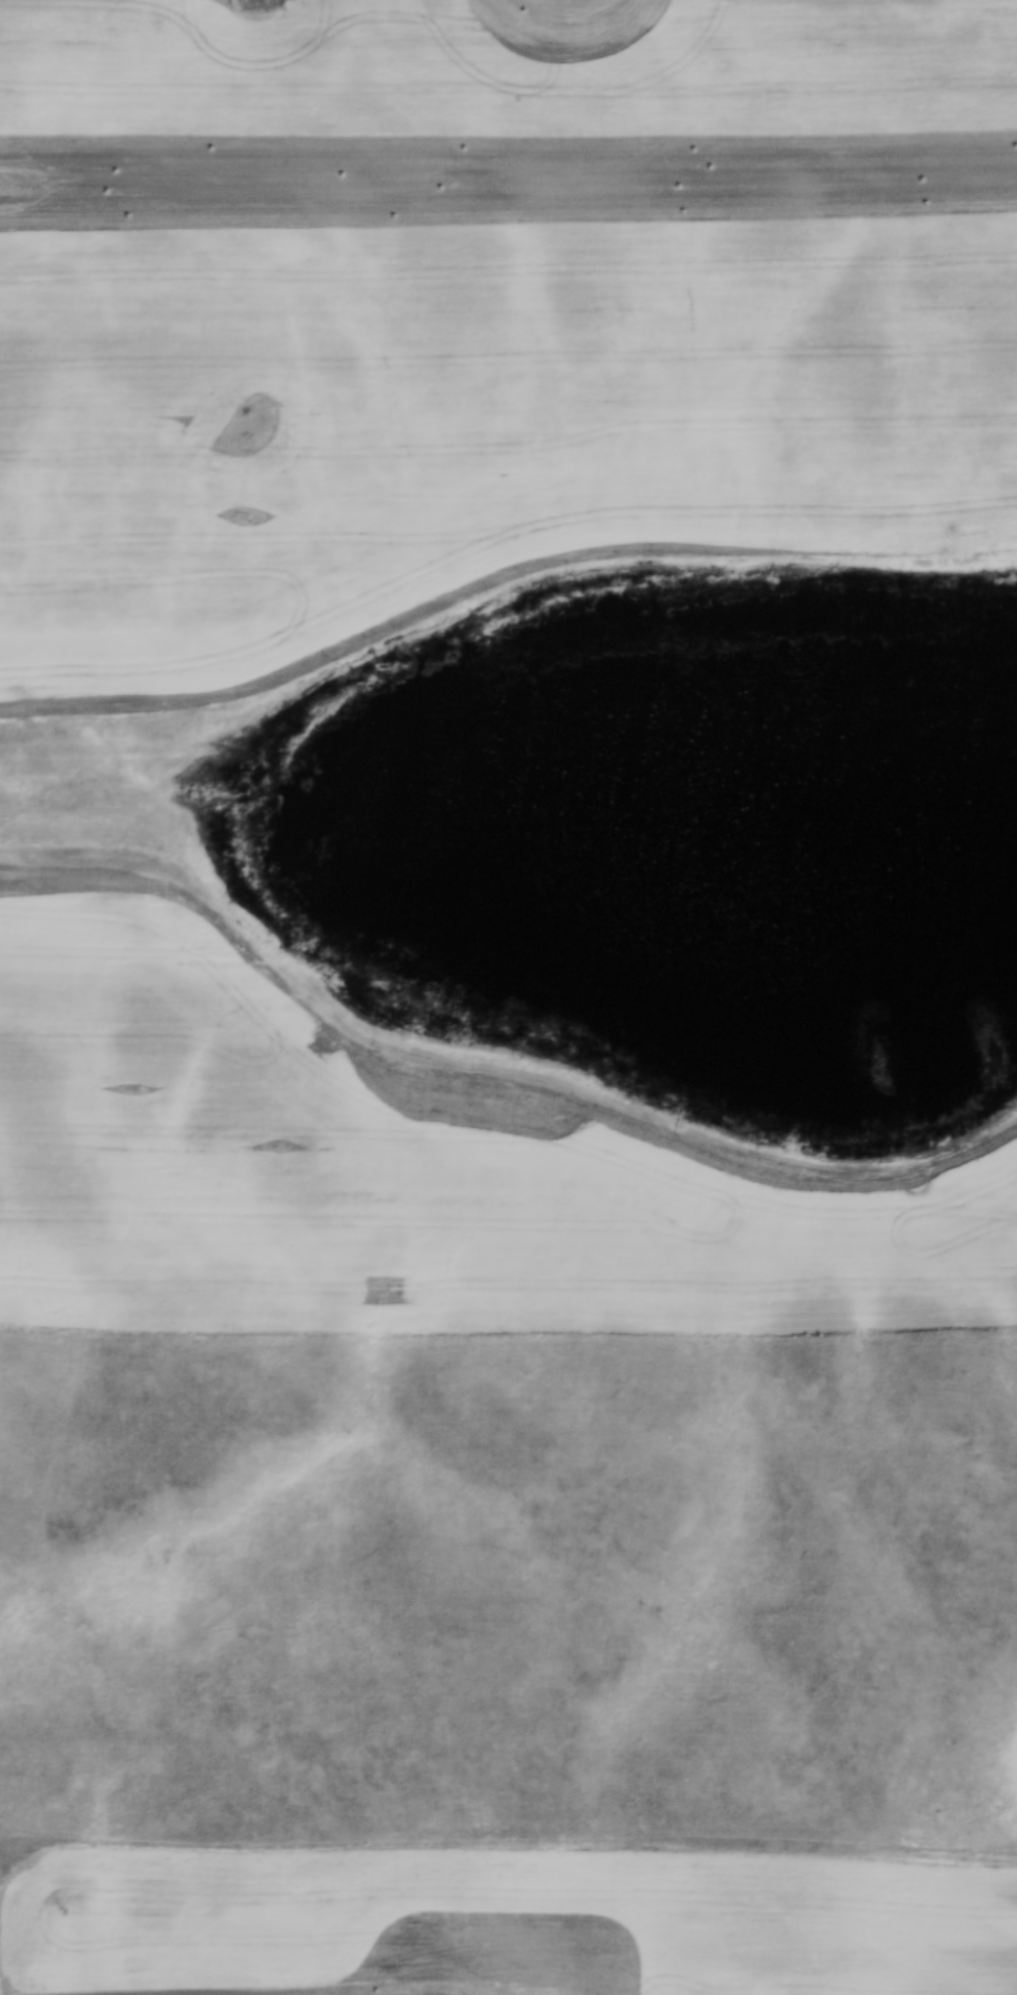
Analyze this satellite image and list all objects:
building: (253, 5)
power tower: (258, 5)

